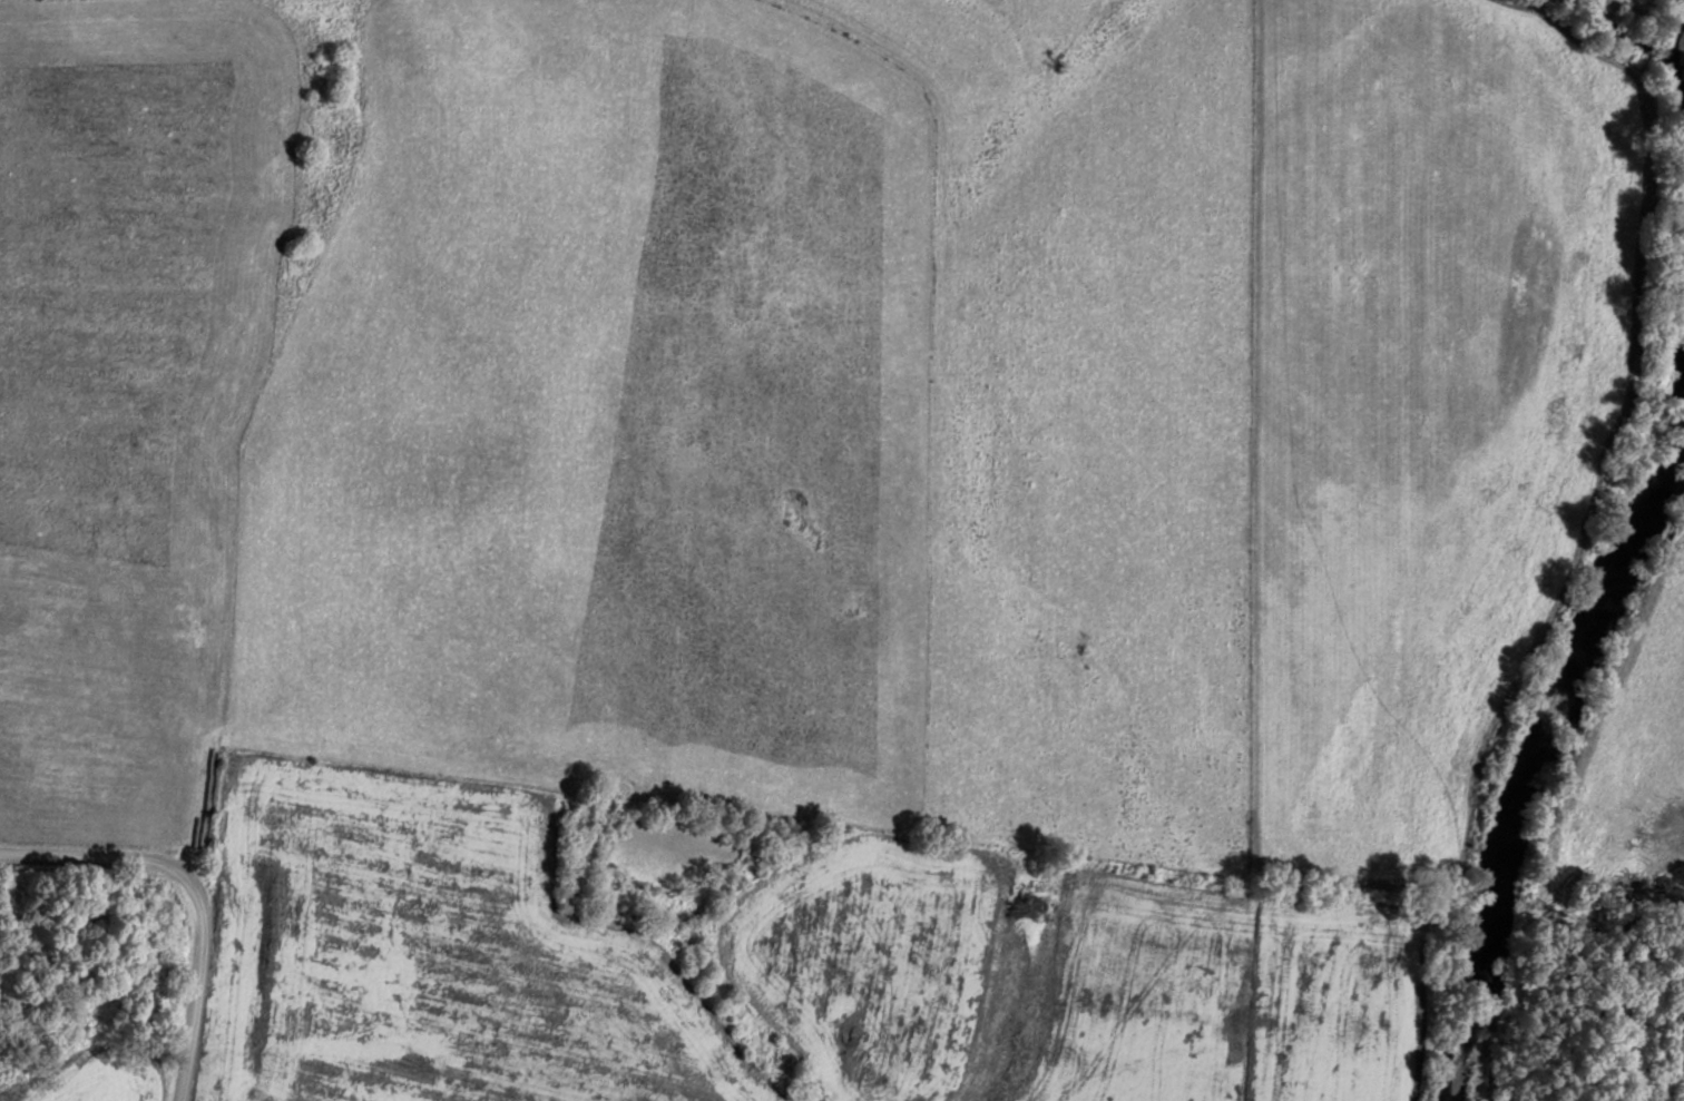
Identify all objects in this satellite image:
road: (154, 930)

